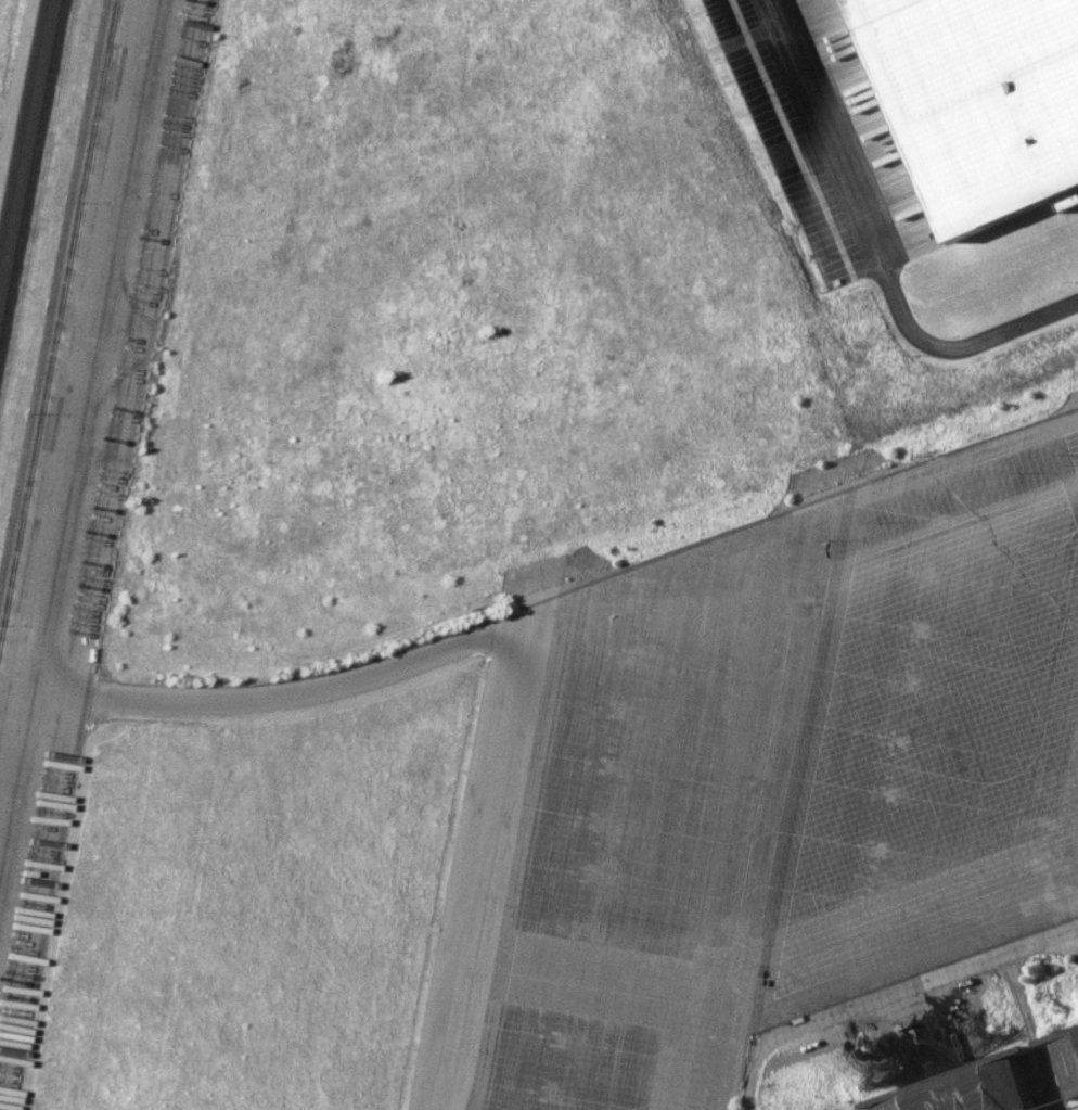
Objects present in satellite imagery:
building: (980, 101)
railway: (30, 174)
road: (872, 250)
railway: (57, 321)
road: (887, 993)
road: (1035, 1030)
airport hangar: (1068, 1049)
building: (1068, 1049)
airport hangar: (974, 1087)
building: (974, 1087)

